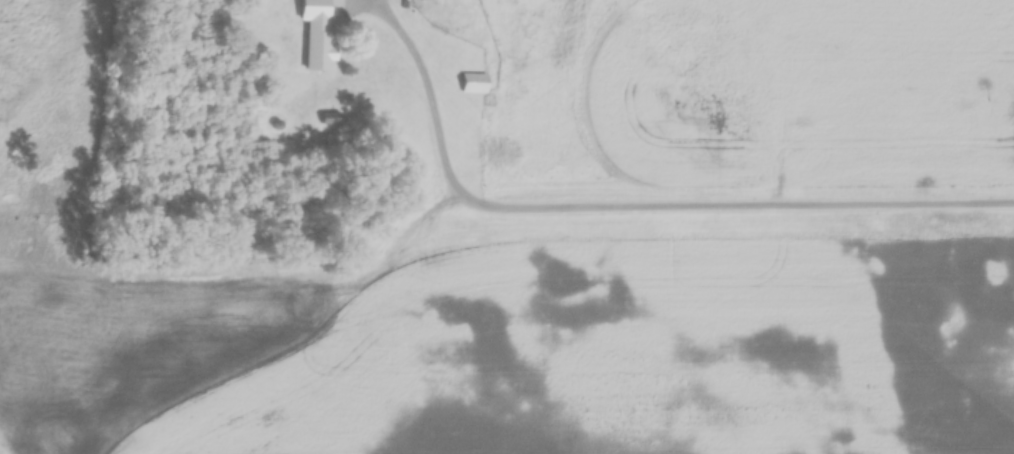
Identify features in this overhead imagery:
building: (317, 51)
building: (473, 83)
road: (650, 212)

